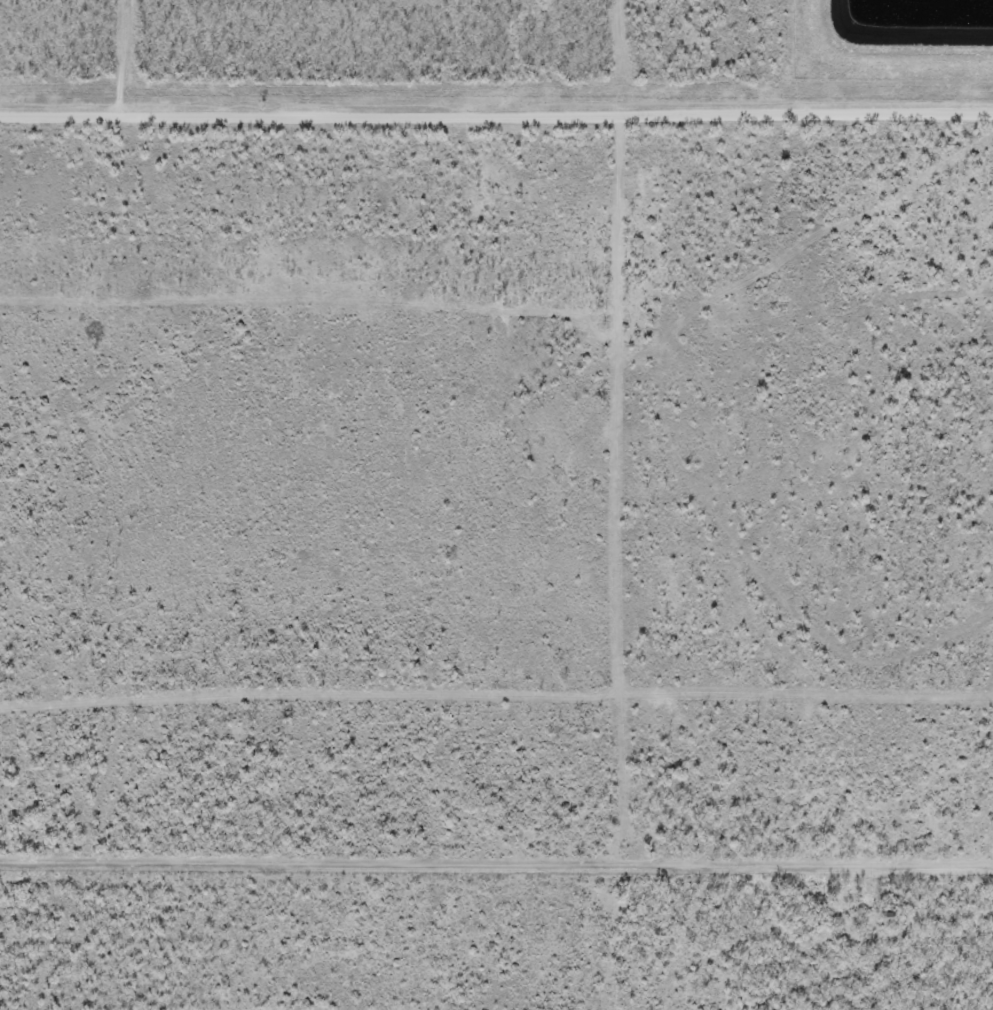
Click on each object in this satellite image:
road: (310, 120)
road: (807, 120)

